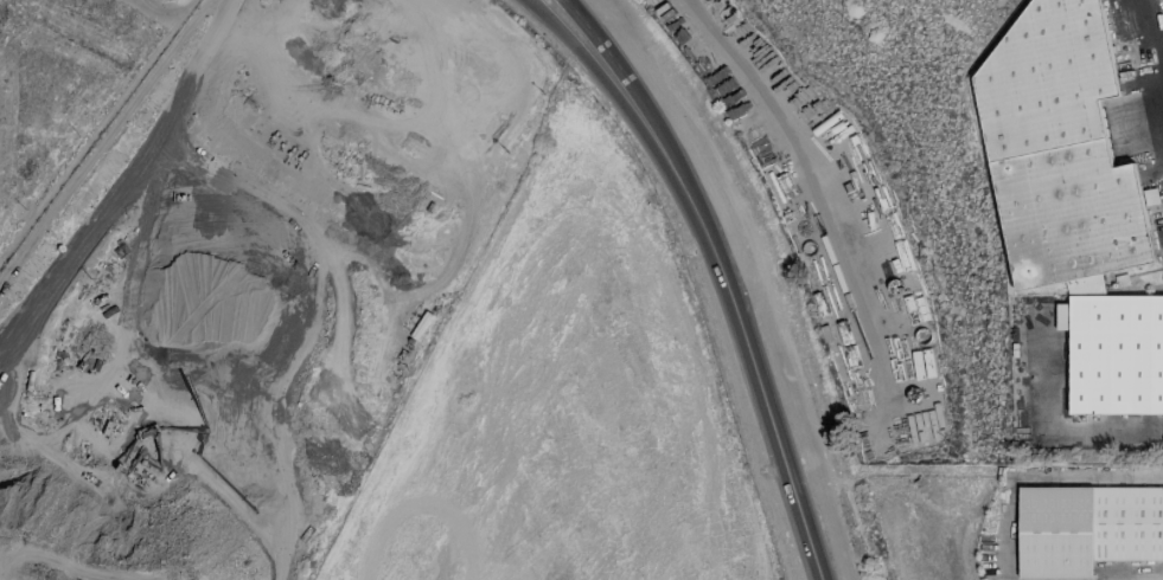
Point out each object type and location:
road: (561, 9)
road: (543, 12)
road: (1155, 21)
road: (209, 24)
road: (103, 135)
building: (1059, 148)
road: (724, 283)
landfill: (256, 288)
building: (1114, 354)
road: (1047, 417)
road: (1031, 475)
road: (282, 524)
building: (1086, 529)
road: (1135, 578)

